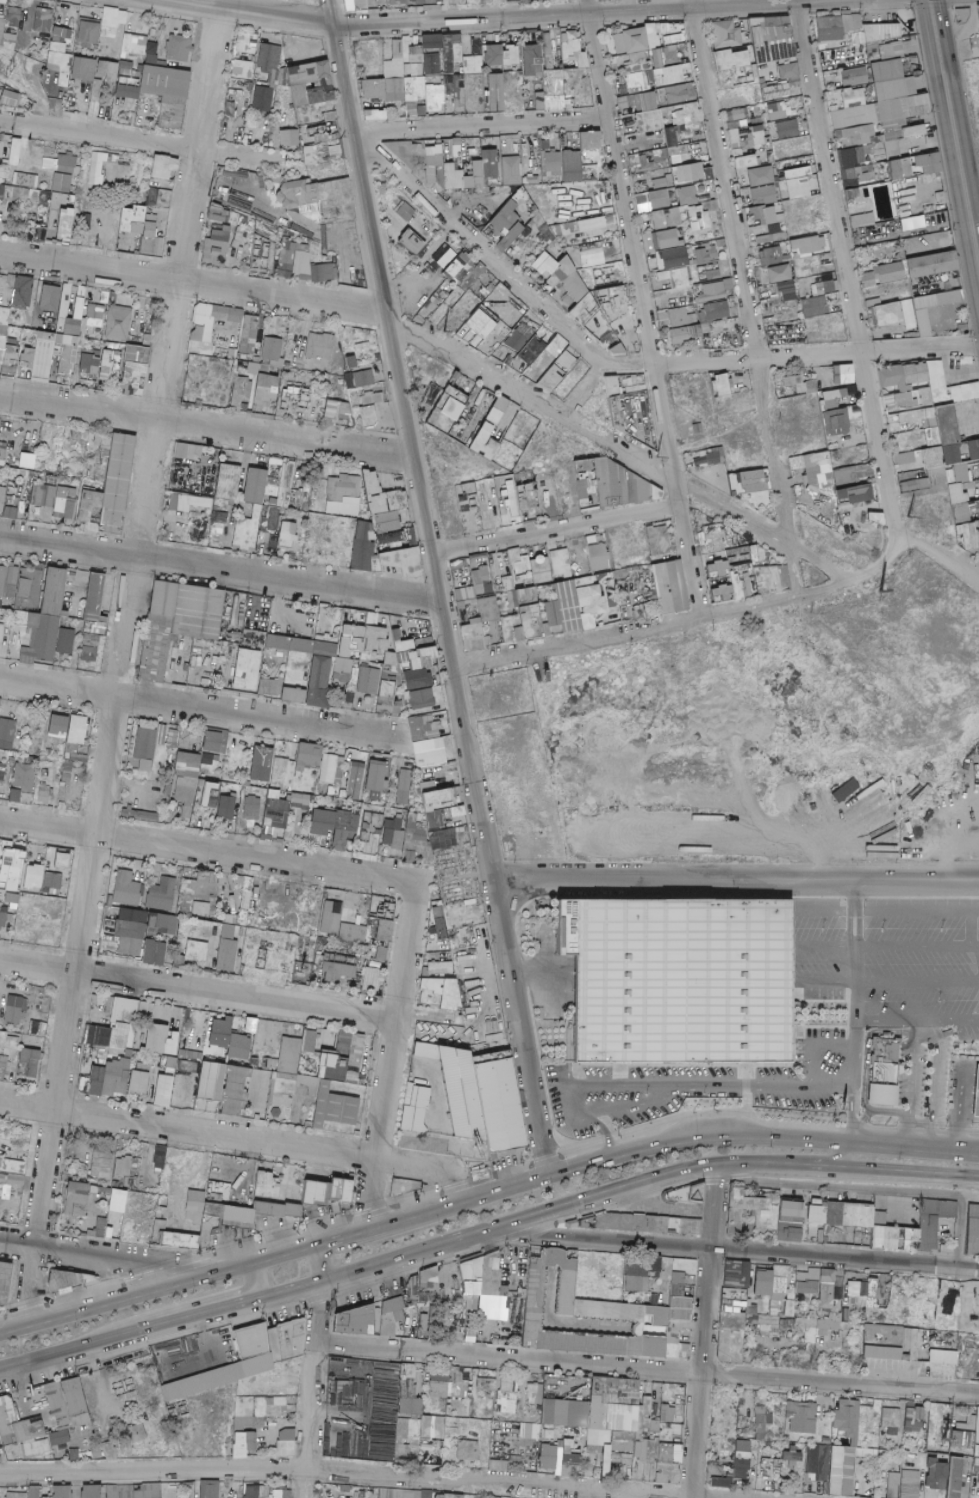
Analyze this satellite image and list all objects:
gas station: (973, 1091)

